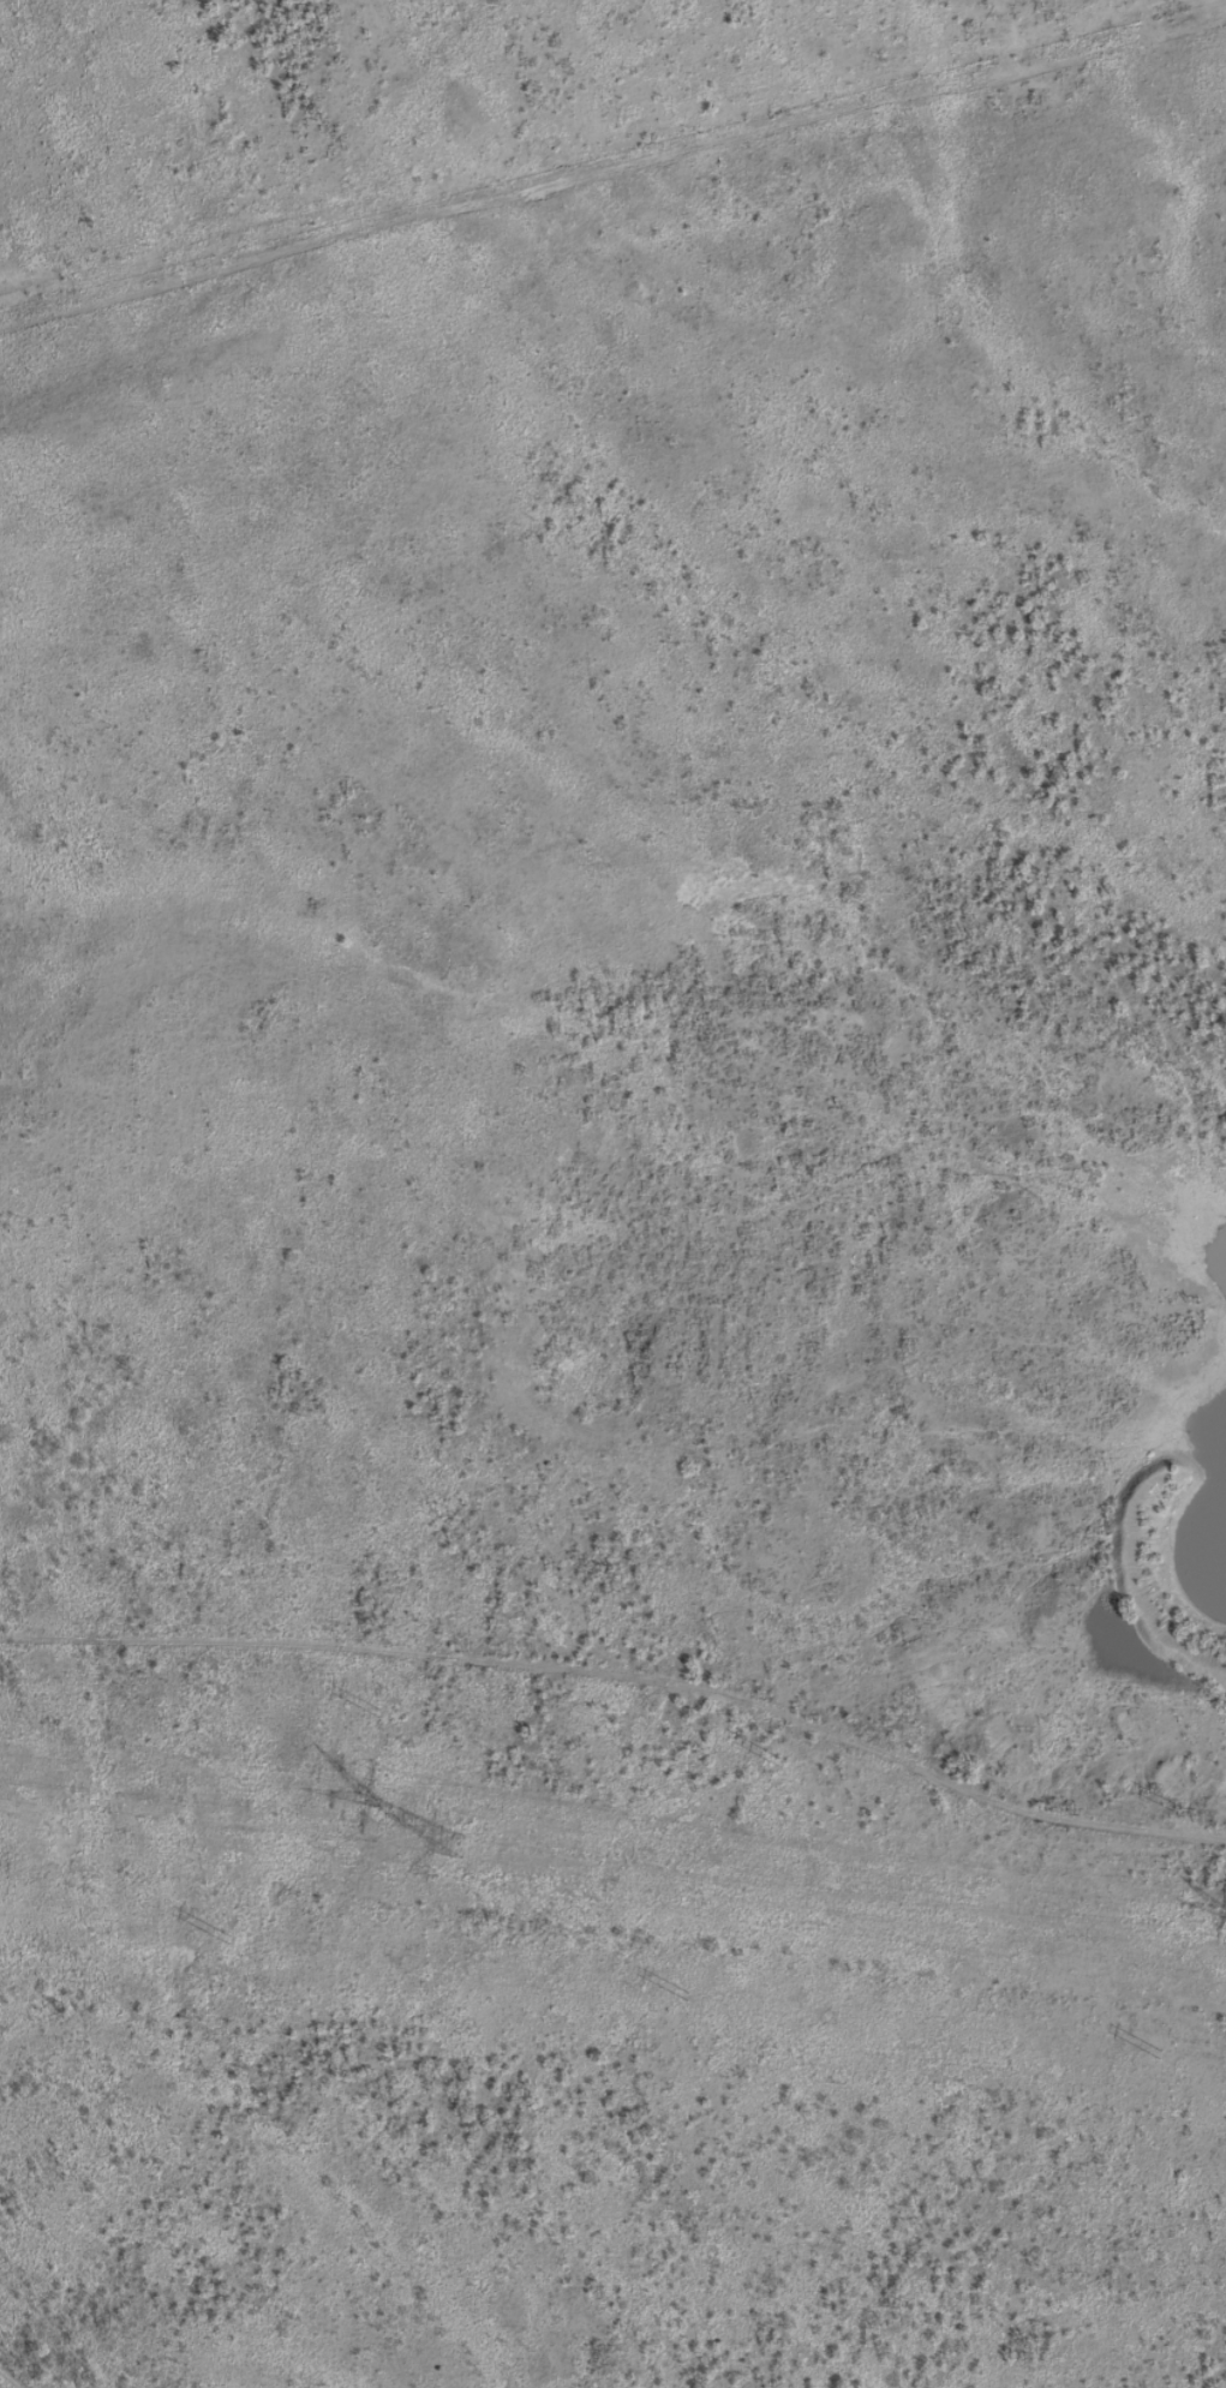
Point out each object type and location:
power tower: (382, 1713)
power tower: (775, 1765)
power tower: (1183, 1815)
power tower: (438, 1848)
power tower: (228, 1940)
power tower: (687, 1998)
power tower: (1160, 2055)
road: (18, 2372)

